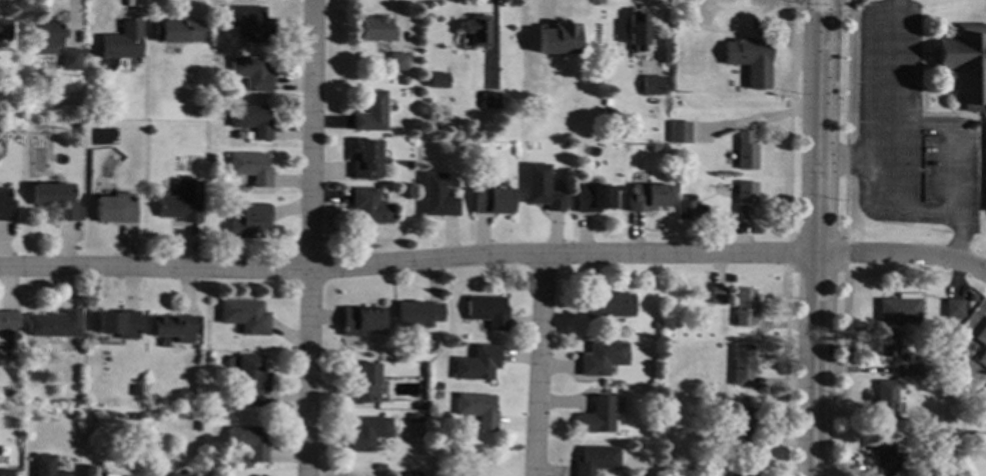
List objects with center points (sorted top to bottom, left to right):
building: (249, 23)
building: (4, 30)
building: (478, 30)
building: (377, 31)
building: (176, 32)
building: (638, 32)
building: (47, 36)
building: (556, 39)
building: (121, 43)
building: (749, 59)
building: (69, 60)
building: (397, 62)
building: (966, 63)
building: (250, 74)
building: (402, 81)
building: (437, 82)
building: (652, 86)
building: (490, 101)
building: (607, 104)
building: (75, 107)
building: (90, 113)
building: (198, 113)
building: (371, 114)
road: (788, 117)
road: (846, 117)
building: (249, 122)
building: (76, 132)
building: (678, 132)
road: (978, 133)
building: (236, 136)
road: (958, 138)
building: (745, 152)
building: (674, 154)
building: (209, 158)
road: (853, 160)
road: (888, 160)
building: (364, 161)
building: (249, 168)
building: (680, 183)
building: (541, 189)
building: (437, 197)
building: (647, 198)
building: (593, 199)
building: (744, 200)
building: (56, 201)
building: (490, 201)
building: (181, 204)
building: (4, 206)
building: (368, 208)
building: (113, 209)
building: (685, 211)
building: (247, 222)
road: (843, 235)
road: (307, 237)
road: (817, 238)
road: (493, 254)
building: (730, 280)
building: (717, 296)
building: (608, 306)
building: (899, 307)
building: (953, 307)
building: (743, 308)
building: (487, 312)
building: (416, 315)
building: (243, 317)
building: (7, 321)
building: (358, 322)
building: (53, 325)
building: (117, 325)
building: (170, 326)
building: (656, 326)
building: (982, 342)
building: (885, 345)
building: (601, 359)
building: (473, 365)
road: (536, 366)
building: (742, 366)
building: (910, 369)
road: (784, 372)
building: (248, 381)
building: (363, 385)
building: (435, 387)
building: (134, 391)
building: (434, 395)
building: (648, 396)
building: (11, 398)
building: (884, 398)
building: (75, 402)
building: (417, 406)
building: (475, 410)
building: (71, 416)
building: (208, 416)
building: (133, 417)
building: (596, 417)
building: (411, 419)
building: (740, 425)
building: (196, 427)
building: (366, 434)
building: (977, 435)
building: (418, 436)
building: (246, 443)
building: (718, 452)
building: (882, 453)
building: (918, 453)
building: (595, 461)
building: (44, 466)
building: (378, 468)
building: (950, 468)
building: (5, 473)
building: (739, 474)
building: (163, 475)
building: (409, 475)

